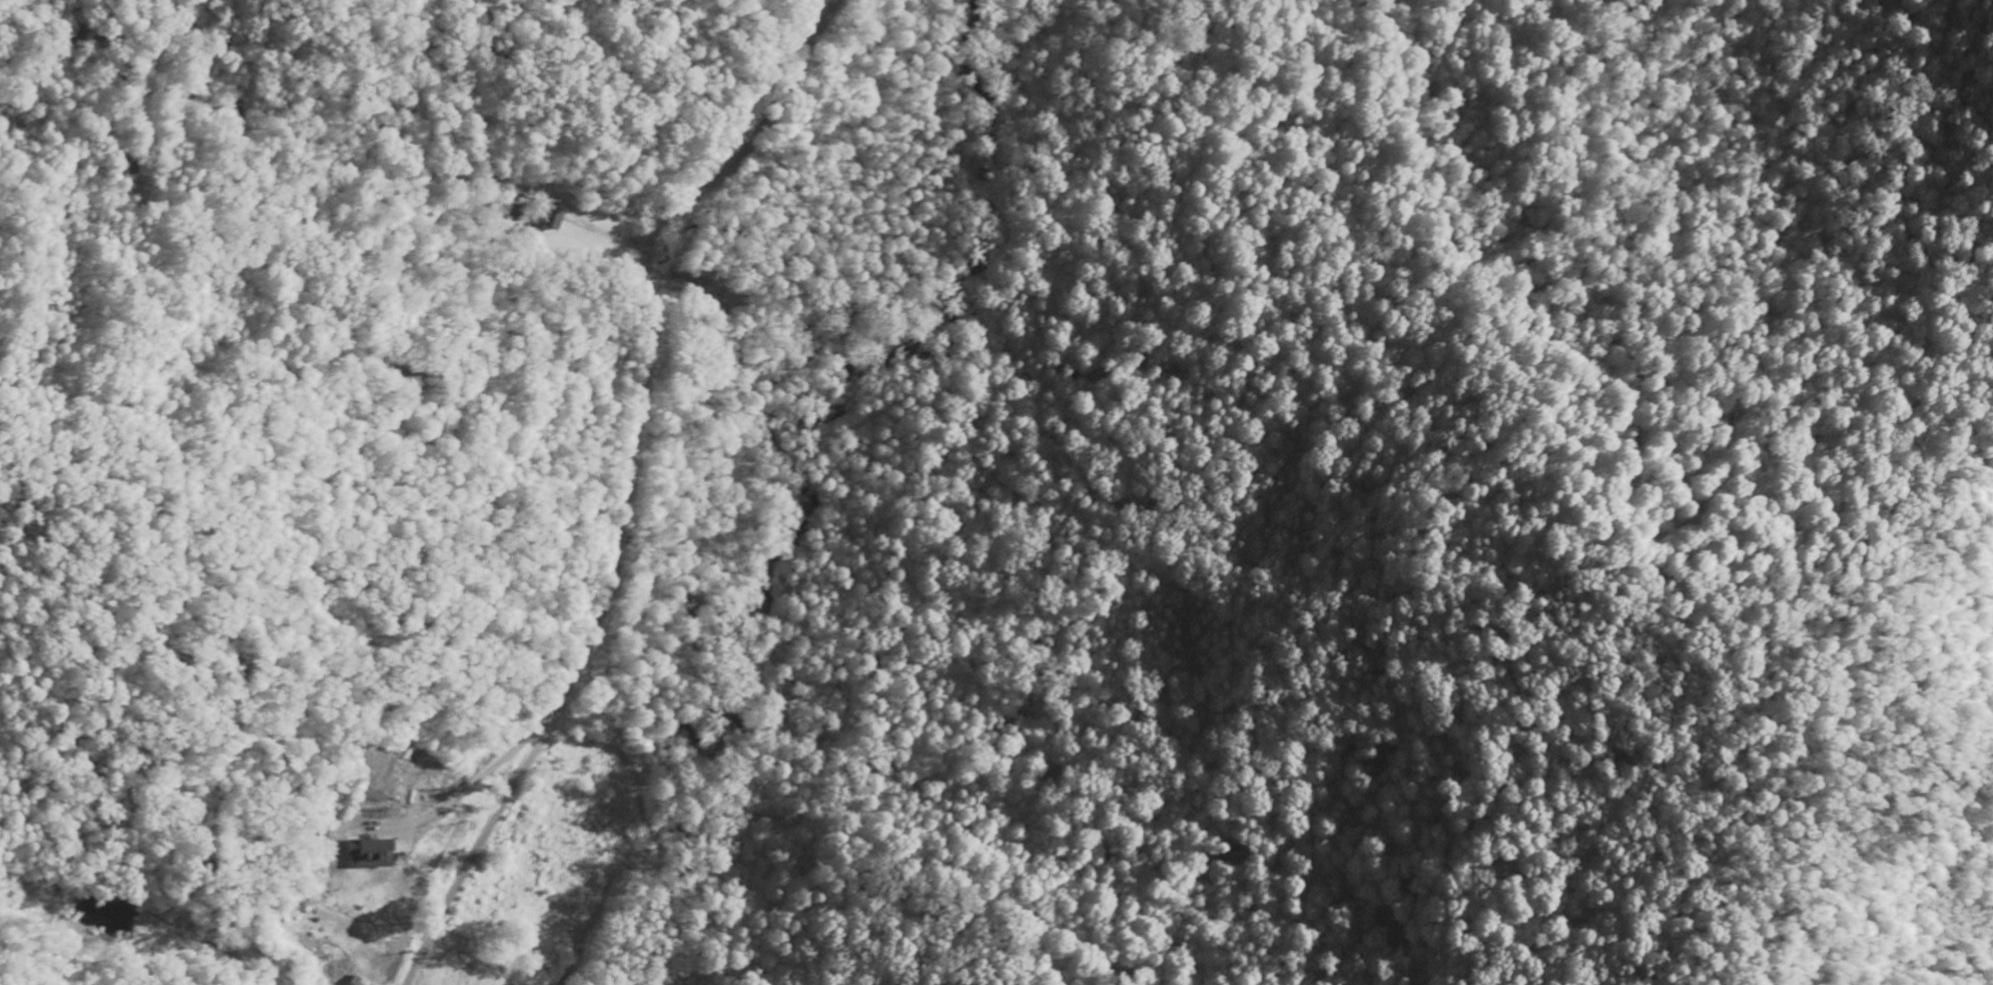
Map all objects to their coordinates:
road: (625, 483)
building: (366, 855)
building: (356, 981)

